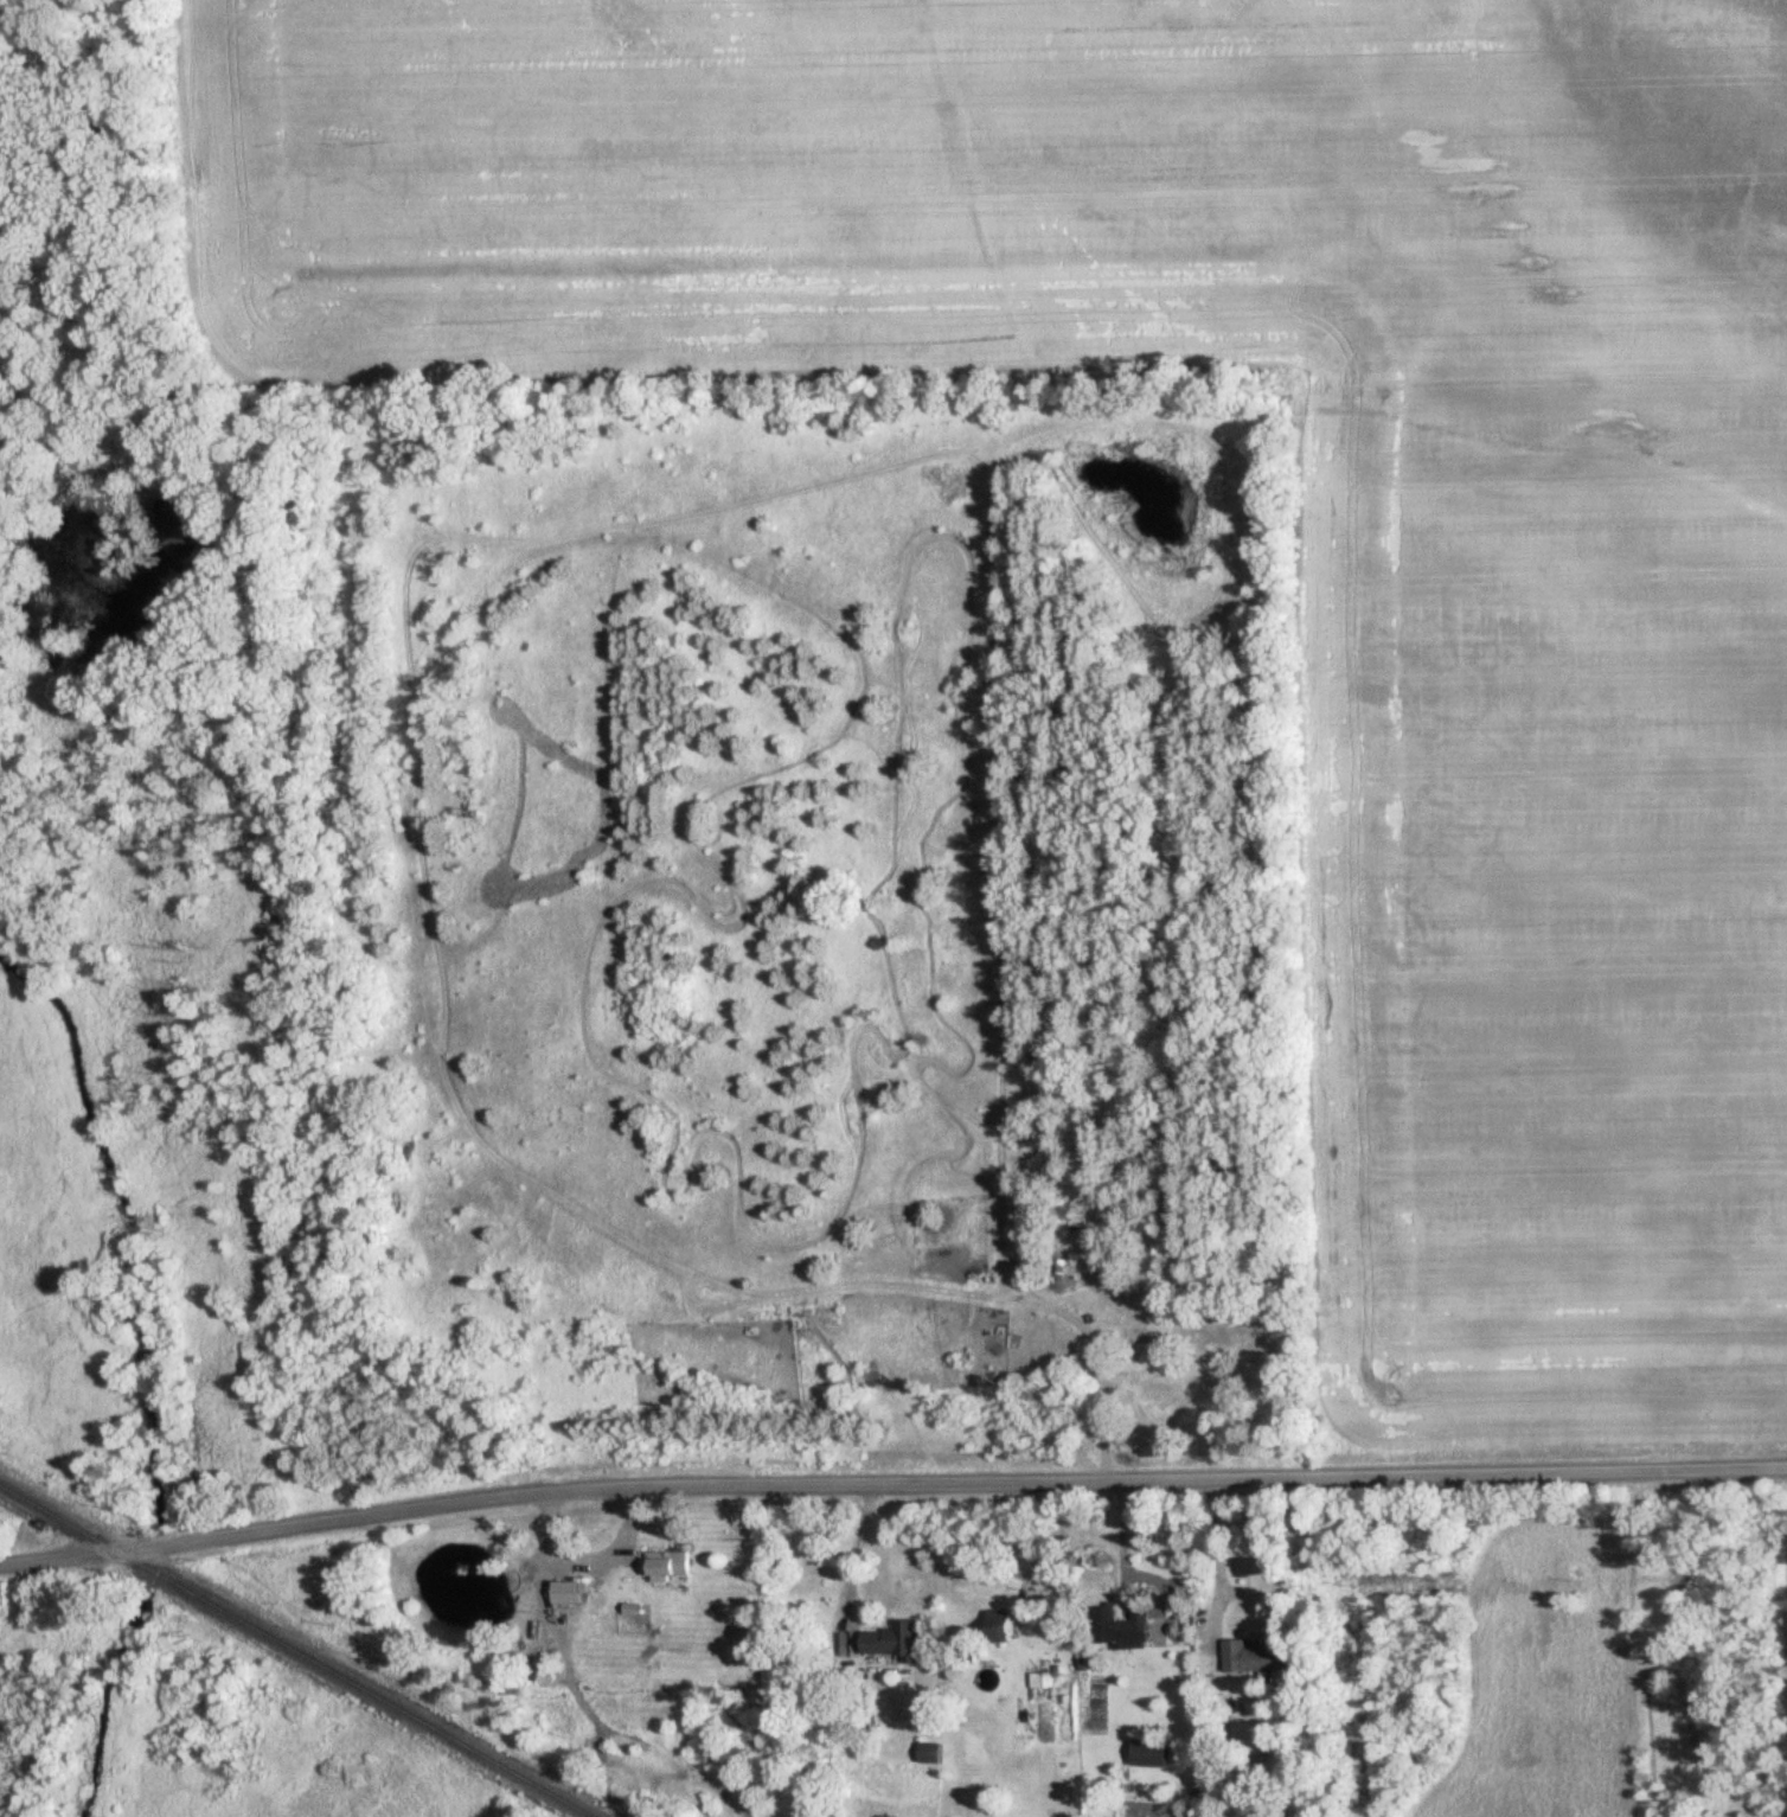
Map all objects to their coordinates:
road: (1106, 1378)
building: (1199, 1402)
road: (890, 1482)
road: (853, 1553)
road: (1211, 1560)
building: (666, 1566)
building: (565, 1593)
building: (1117, 1627)
building: (998, 1629)
building: (894, 1642)
railway: (292, 1651)
building: (1256, 1655)
building: (929, 1753)
building: (1148, 1754)

